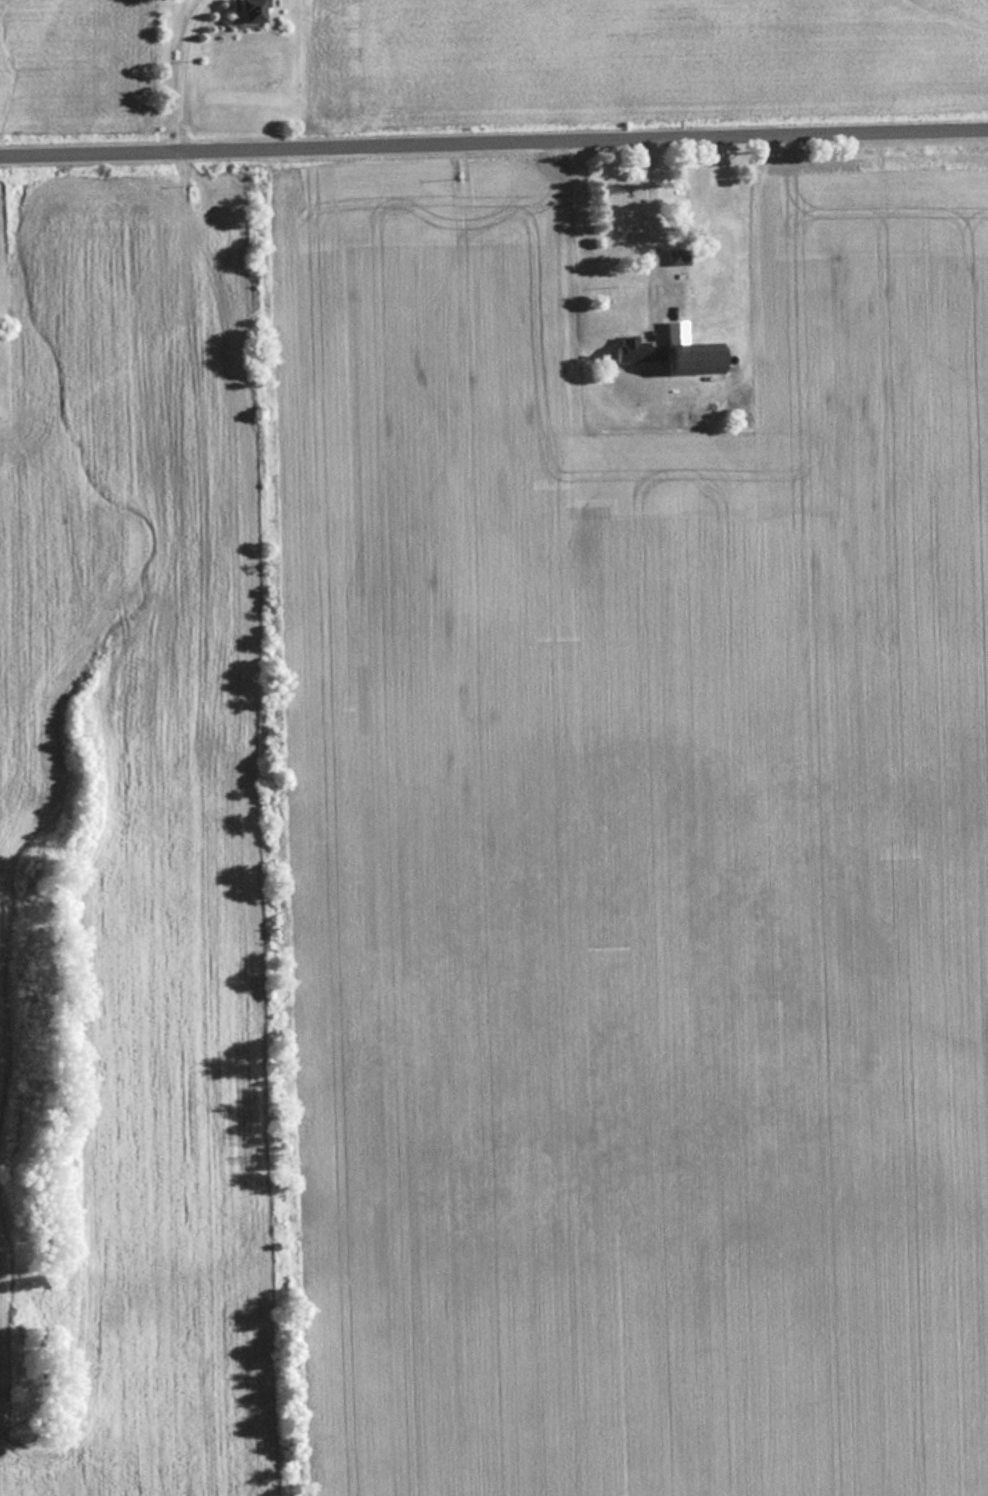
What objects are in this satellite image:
building: (242, 10)
road: (178, 75)
road: (494, 143)
building: (723, 193)
road: (648, 226)
building: (674, 255)
building: (665, 354)

